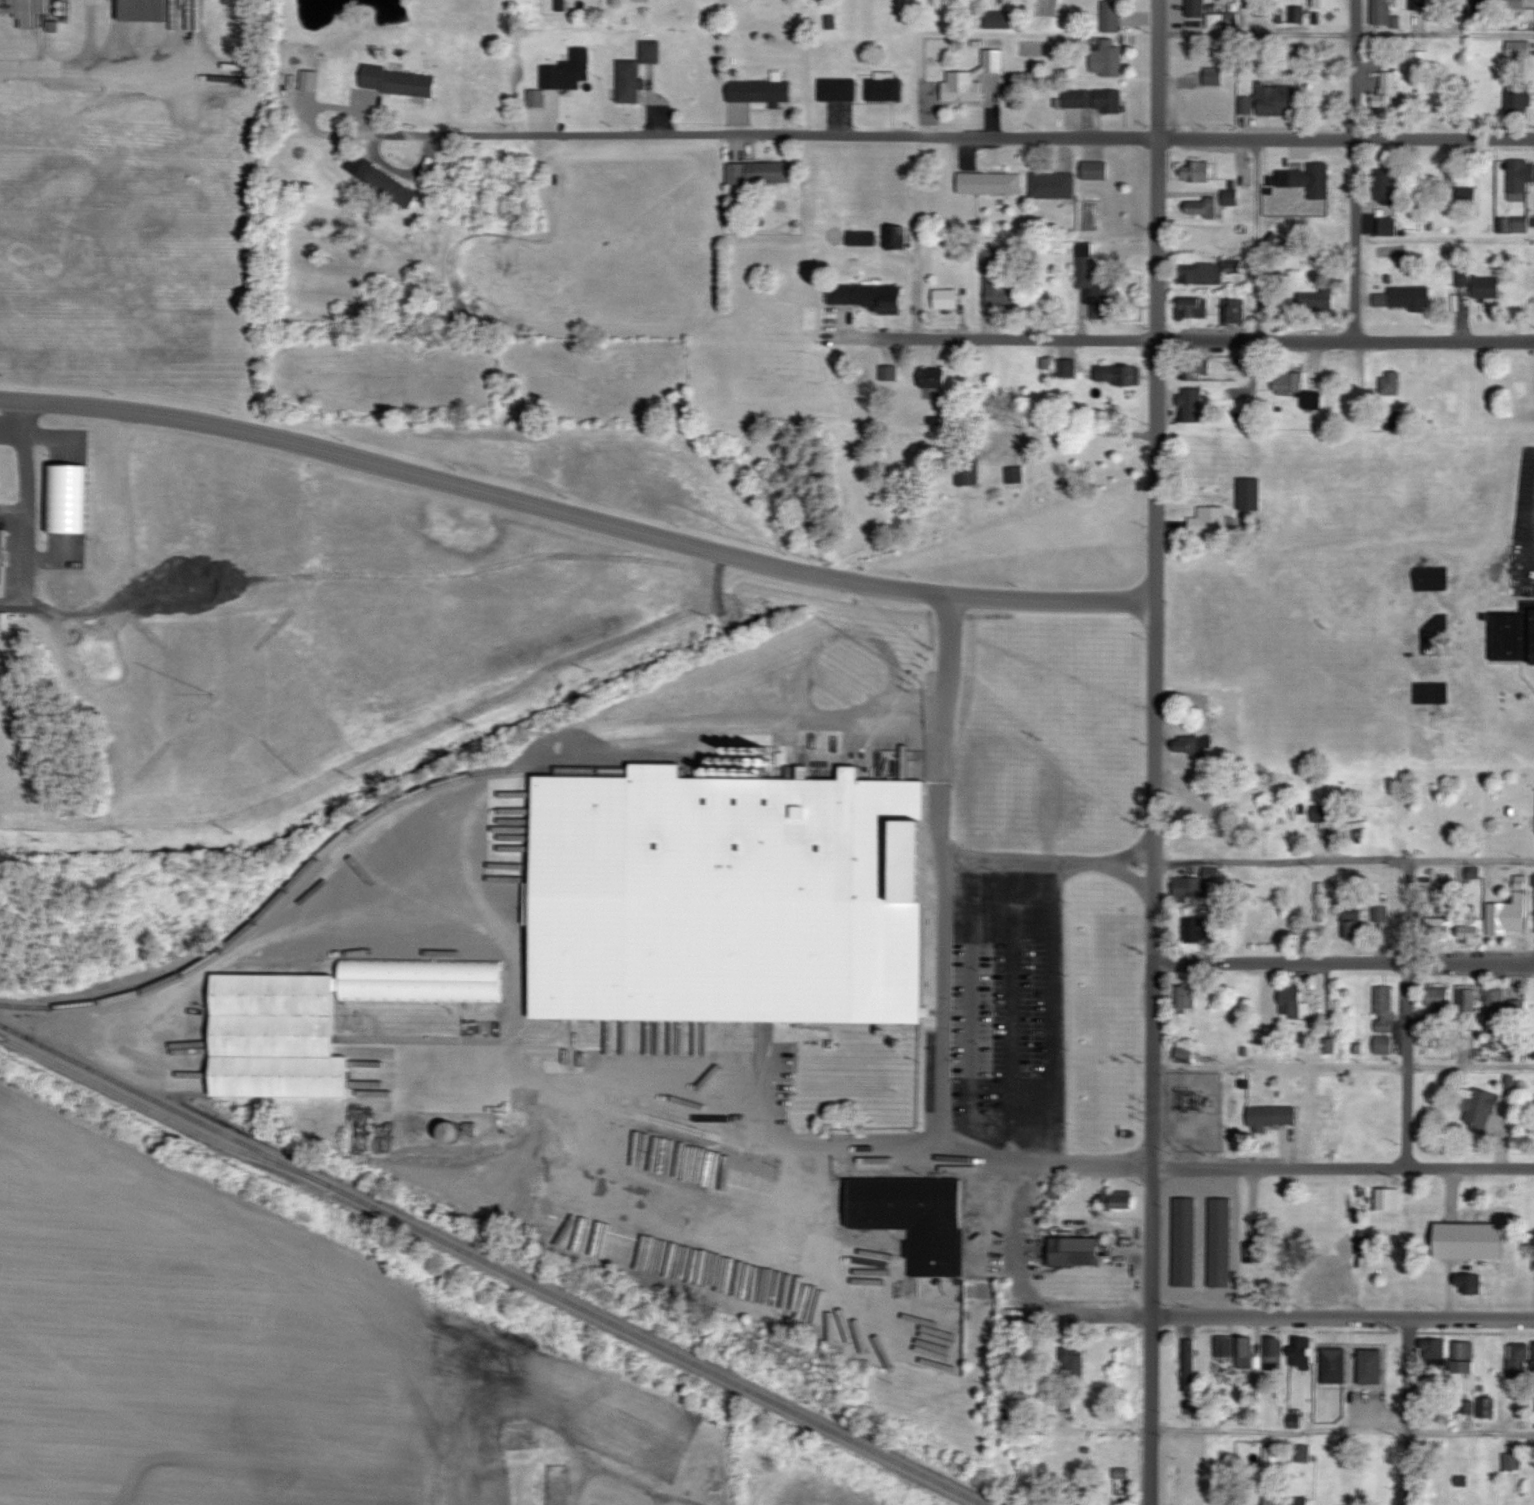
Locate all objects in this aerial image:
building: (1322, 4)
building: (1517, 4)
building: (11, 8)
building: (1194, 8)
building: (144, 10)
building: (1382, 12)
building: (1111, 16)
building: (999, 20)
road: (1345, 34)
building: (1519, 49)
building: (650, 52)
building: (1107, 59)
building: (1210, 68)
road: (93, 70)
building: (563, 75)
building: (971, 78)
building: (398, 81)
building: (630, 82)
building: (885, 88)
building: (838, 90)
building: (760, 91)
building: (1388, 93)
building: (1519, 98)
building: (1092, 99)
building: (1272, 100)
building: (1202, 104)
road: (962, 136)
road: (1357, 169)
building: (1095, 170)
building: (760, 172)
building: (1199, 172)
building: (1518, 176)
building: (1455, 179)
building: (1306, 181)
building: (990, 182)
building: (1052, 185)
building: (1385, 185)
building: (390, 187)
building: (1203, 207)
building: (1388, 226)
building: (896, 237)
road: (1255, 239)
building: (1211, 272)
building: (1096, 285)
building: (1487, 287)
building: (997, 292)
building: (867, 296)
building: (946, 298)
building: (1410, 298)
building: (1318, 299)
building: (1193, 308)
building: (1237, 312)
road: (1188, 338)
building: (1200, 370)
building: (1122, 375)
building: (935, 378)
building: (1390, 384)
building: (1294, 387)
building: (1192, 405)
road: (13, 417)
road: (1078, 431)
building: (1014, 474)
building: (965, 479)
building: (1250, 495)
road: (576, 513)
building: (1209, 521)
building: (3, 554)
building: (1513, 634)
road: (941, 724)
building: (1187, 745)
road: (1152, 752)
road: (475, 828)
building: (1198, 843)
railway: (329, 844)
building: (1234, 845)
road: (1471, 860)
road: (1281, 861)
building: (1188, 889)
building: (729, 898)
building: (1321, 902)
building: (1381, 914)
building: (1508, 918)
building: (1354, 921)
building: (1438, 926)
building: (1471, 930)
building: (1201, 931)
road: (1345, 961)
road: (940, 970)
building: (1113, 978)
building: (1437, 997)
building: (1187, 999)
building: (1466, 1000)
building: (1292, 1002)
building: (1384, 1009)
building: (1517, 1009)
building: (1497, 1010)
road: (1408, 1012)
road: (1014, 1018)
building: (276, 1037)
building: (1383, 1045)
building: (1185, 1054)
road: (1344, 1066)
building: (840, 1076)
building: (1479, 1110)
power substation: (1192, 1112)
railway: (164, 1115)
building: (1270, 1117)
building: (451, 1133)
road: (1108, 1165)
building: (1115, 1199)
building: (1389, 1200)
building: (915, 1218)
road: (1200, 1240)
road: (1235, 1240)
building: (1182, 1244)
building: (1218, 1244)
building: (1454, 1248)
building: (1074, 1251)
building: (1254, 1253)
railway: (493, 1264)
building: (1326, 1280)
building: (1470, 1282)
road: (1274, 1315)
road: (1014, 1345)
building: (1225, 1347)
building: (1434, 1352)
building: (1245, 1353)
building: (1274, 1353)
building: (1301, 1353)
building: (1465, 1358)
building: (1519, 1358)
building: (1074, 1361)
building: (1185, 1364)
building: (1334, 1366)
building: (1371, 1367)
road: (1408, 1410)
road: (1342, 1431)
building: (1271, 1458)
building: (1513, 1462)
building: (1121, 1473)
road: (624, 1478)
building: (1300, 1501)
building: (1217, 1502)

